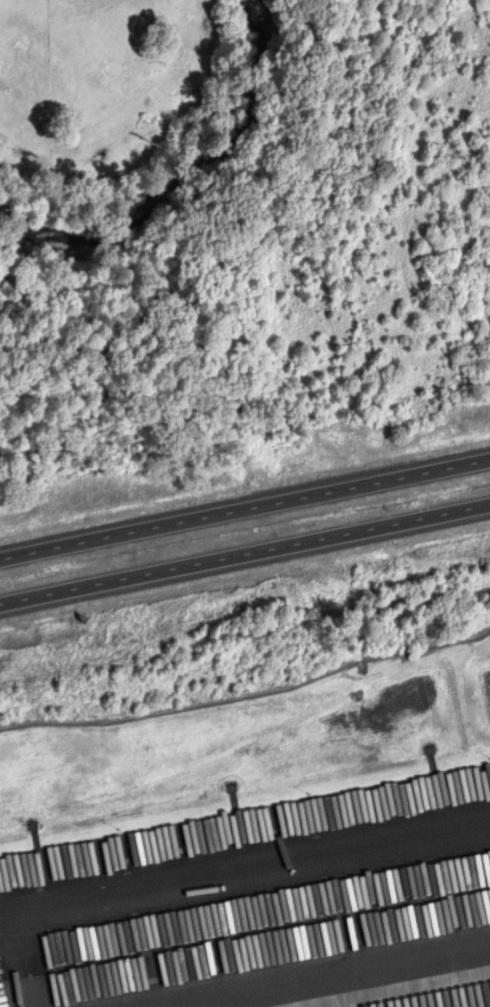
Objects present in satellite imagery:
road: (244, 514)
road: (244, 551)
road: (213, 880)
road: (322, 975)

